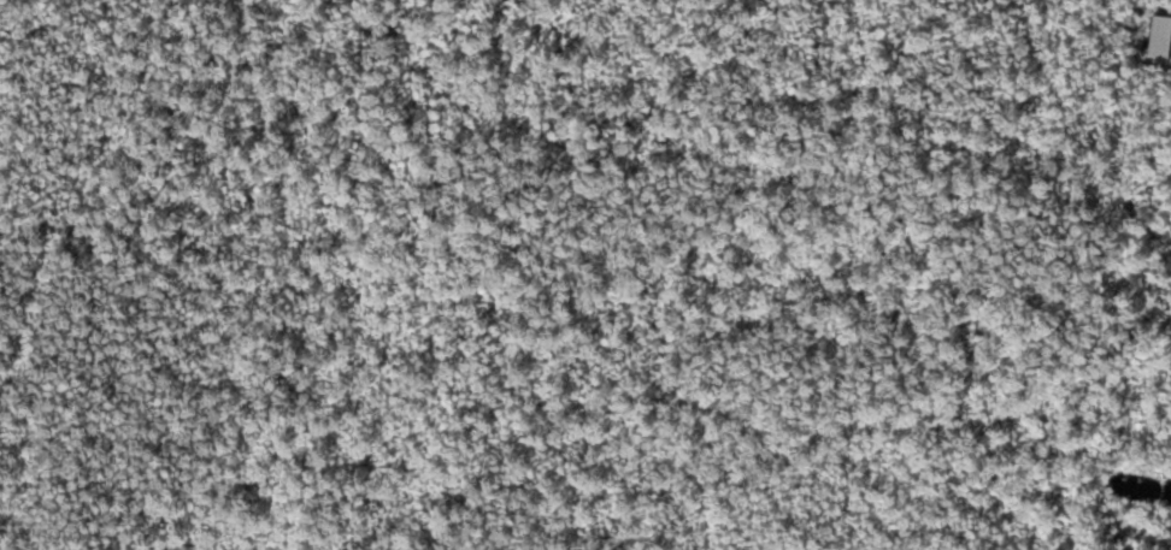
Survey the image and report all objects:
building: (1141, 31)

